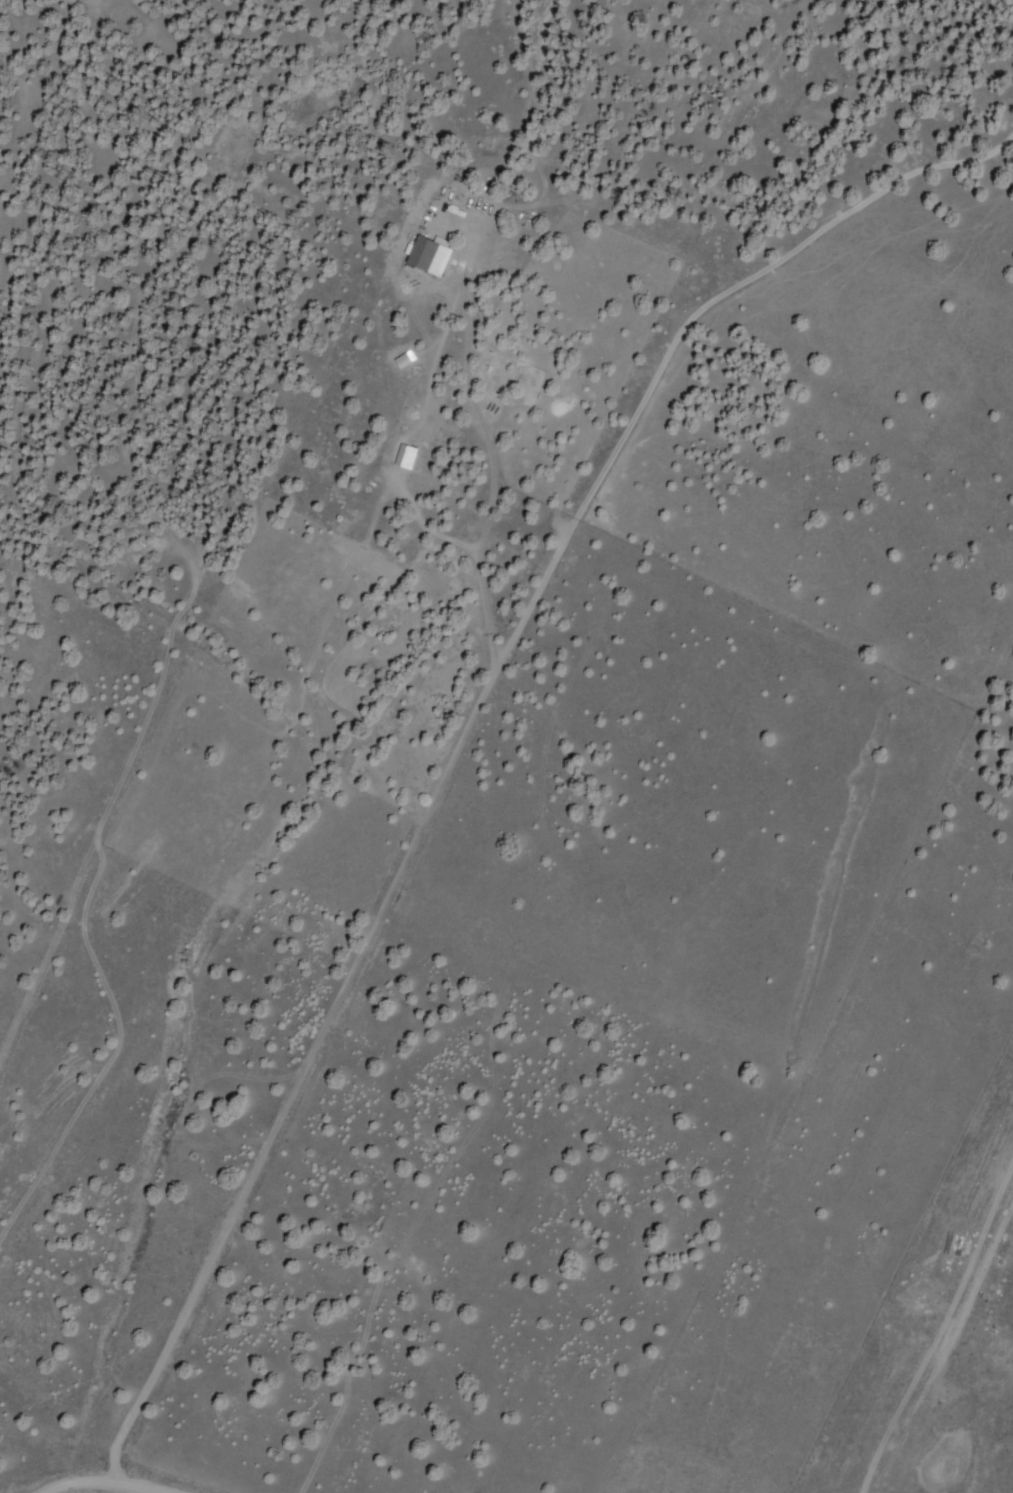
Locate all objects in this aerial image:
building: (240, 137)
building: (428, 256)
building: (405, 457)

